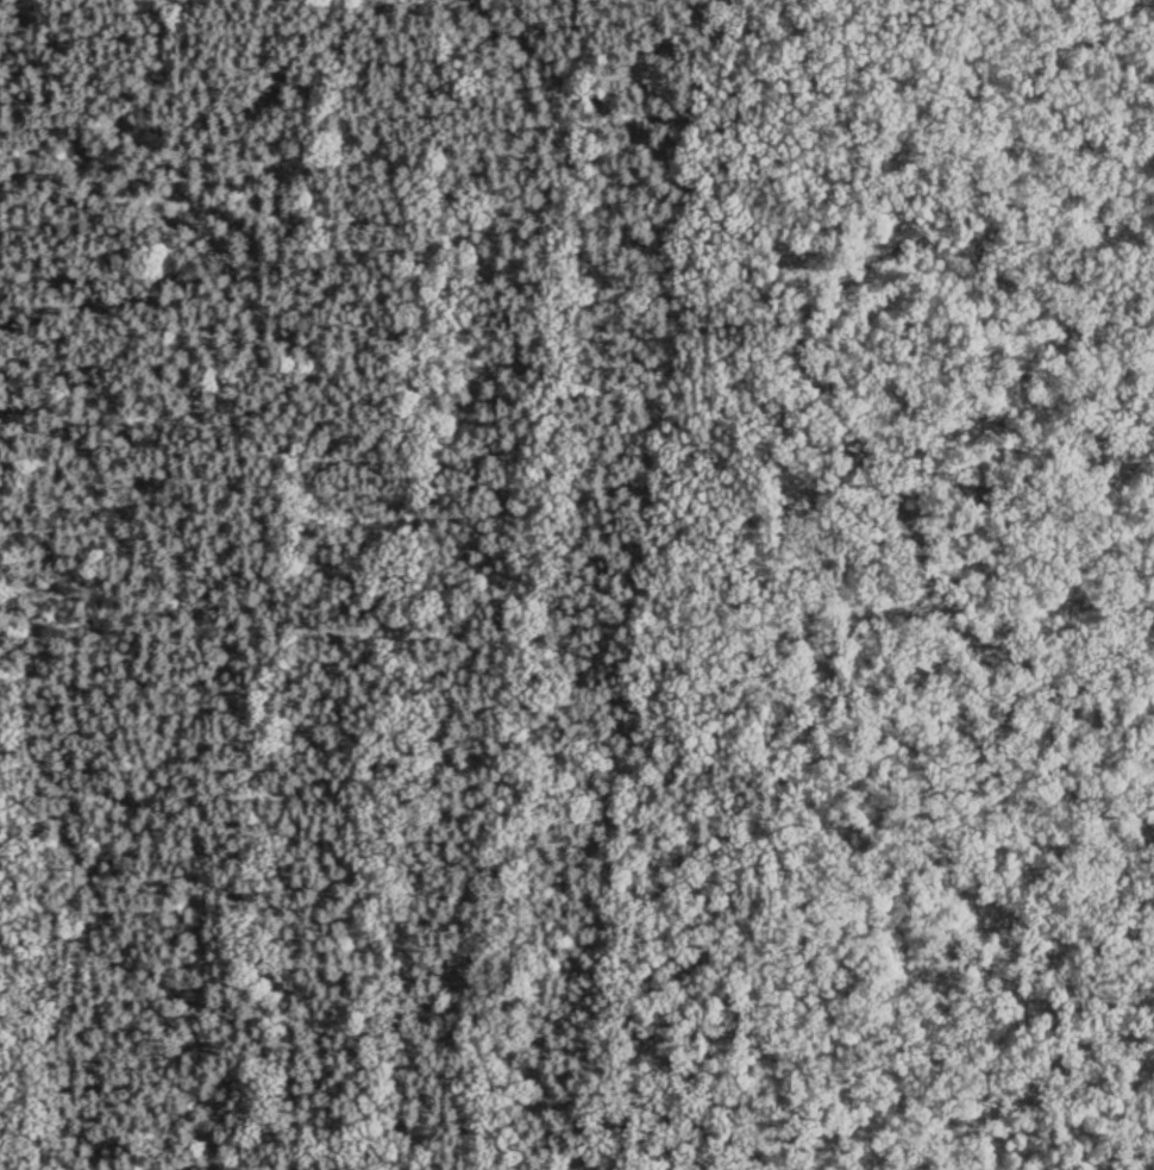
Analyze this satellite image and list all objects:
road: (587, 232)

